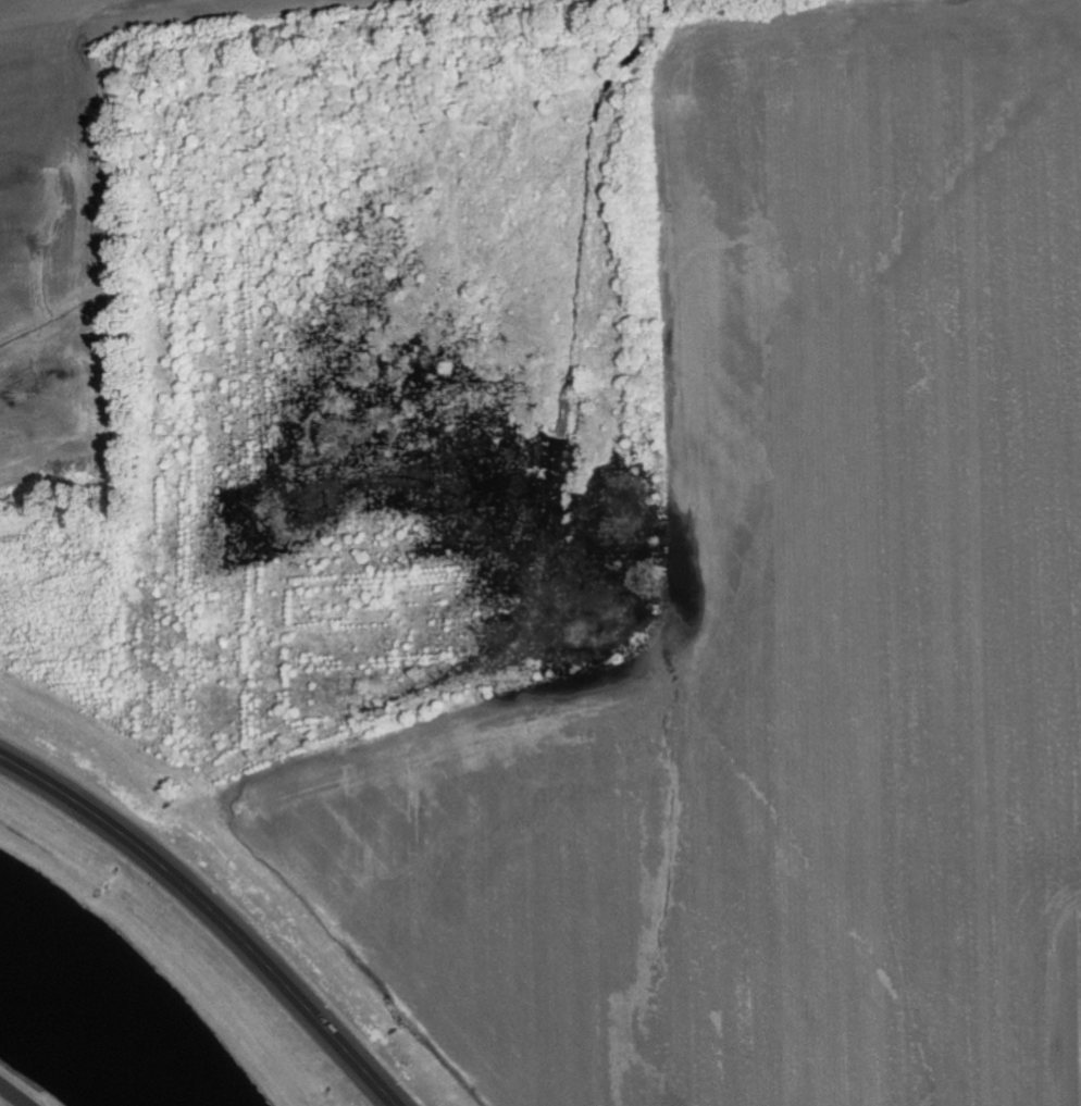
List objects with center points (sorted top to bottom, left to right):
road: (215, 911)
road: (13, 1095)

